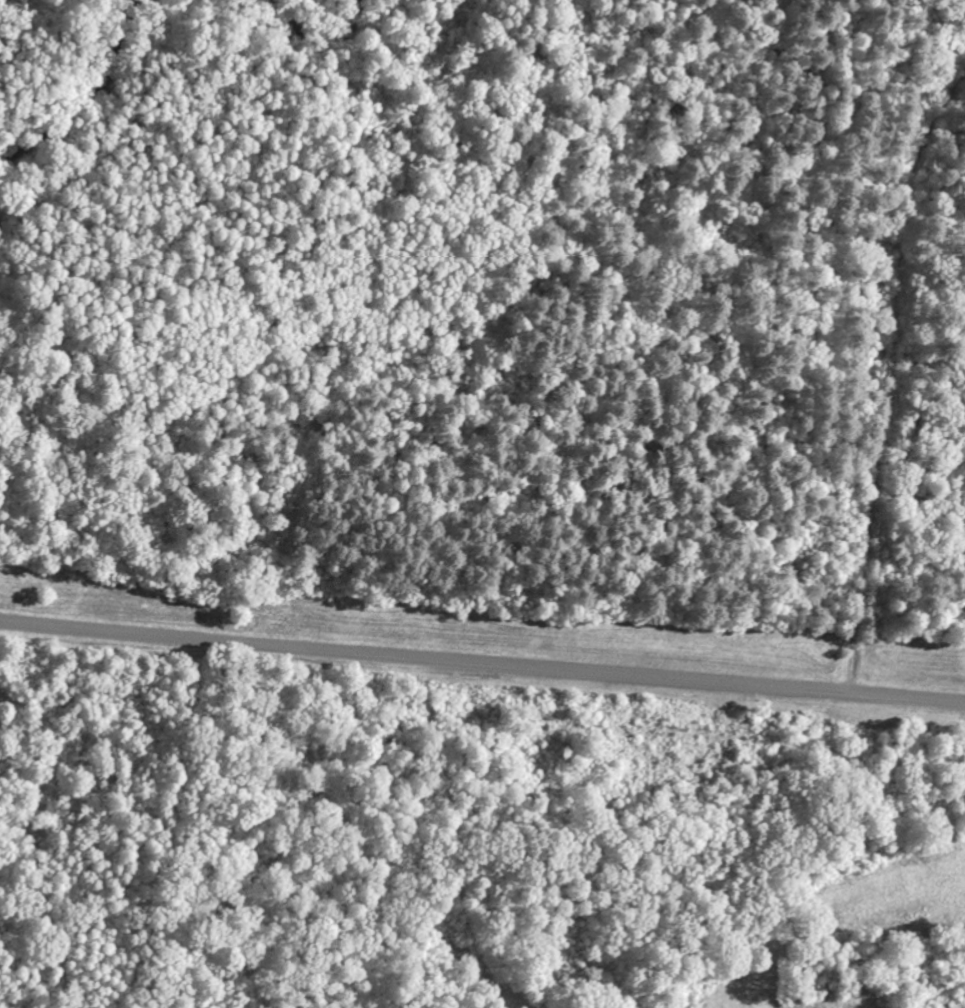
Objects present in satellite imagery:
road: (482, 665)

